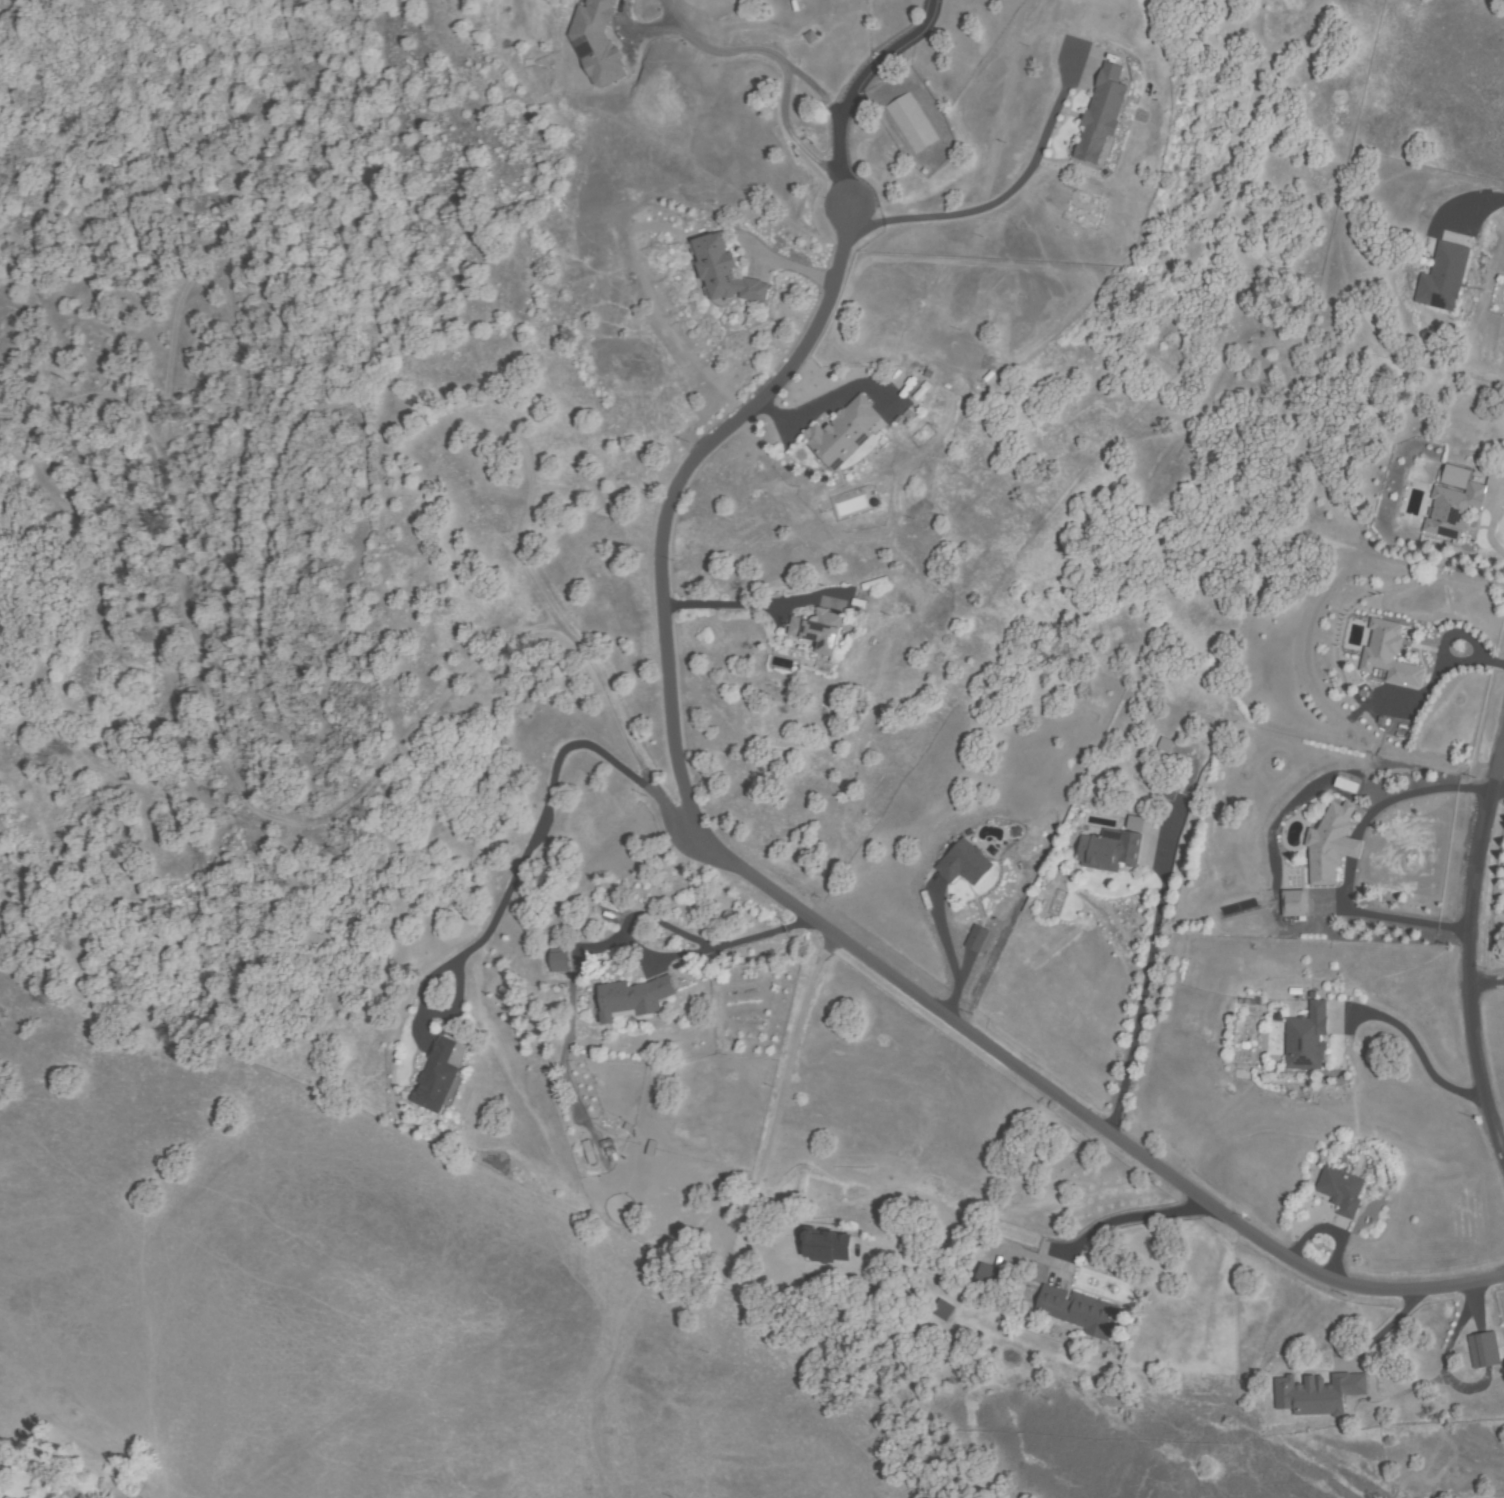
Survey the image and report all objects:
building: (598, 42)
building: (1101, 114)
building: (911, 123)
road: (229, 227)
building: (724, 271)
building: (1444, 277)
building: (845, 432)
road: (676, 492)
building: (1453, 512)
building: (821, 632)
building: (1388, 655)
building: (1162, 744)
building: (1347, 786)
road: (285, 823)
building: (1131, 823)
building: (1016, 832)
building: (1331, 845)
building: (1109, 850)
building: (963, 863)
building: (1029, 863)
building: (1295, 903)
building: (977, 939)
road: (1466, 947)
building: (559, 961)
building: (632, 999)
building: (1306, 1039)
building: (436, 1077)
road: (1081, 1115)
building: (585, 1151)
building: (1341, 1189)
building: (824, 1247)
building: (989, 1278)
building: (942, 1310)
building: (1077, 1311)
building: (1484, 1350)
building: (1317, 1394)
building: (52, 1468)
building: (2, 1496)
building: (11, 1497)

